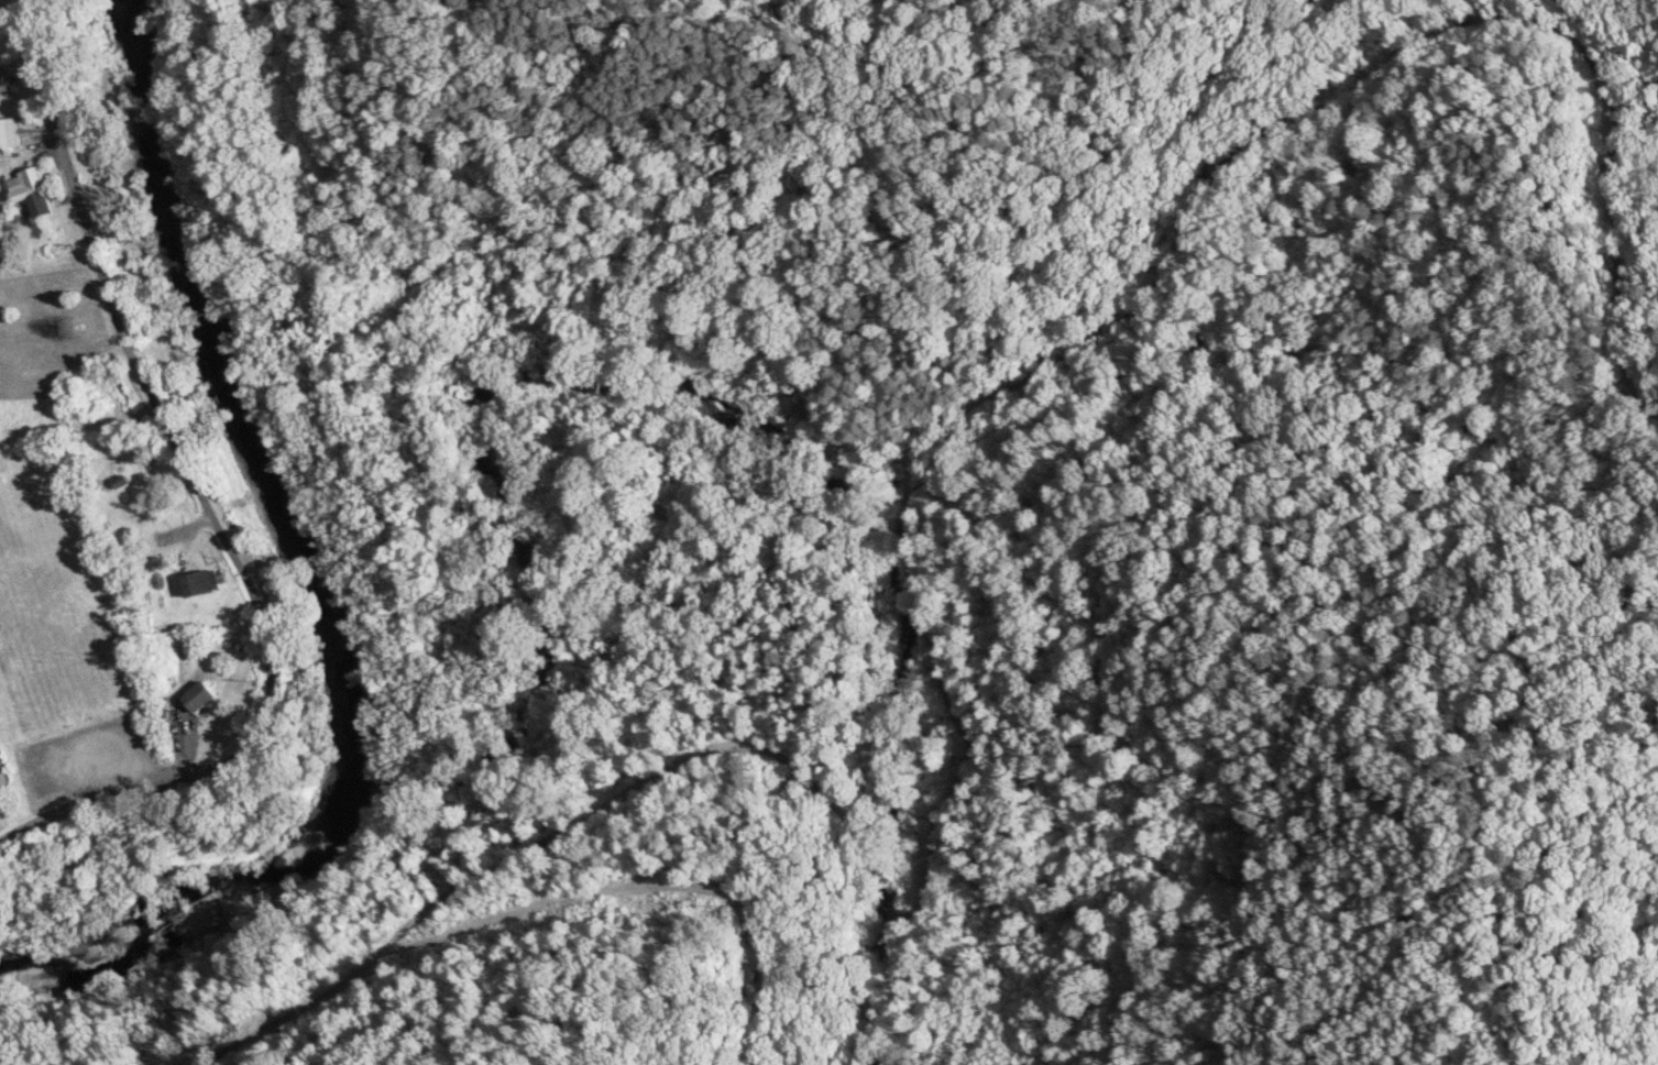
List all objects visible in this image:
building: (7, 83)
building: (10, 135)
building: (34, 193)
road: (206, 504)
park: (34, 530)
river: (319, 582)
building: (204, 584)
park: (59, 649)
building: (204, 696)
road: (293, 1033)

